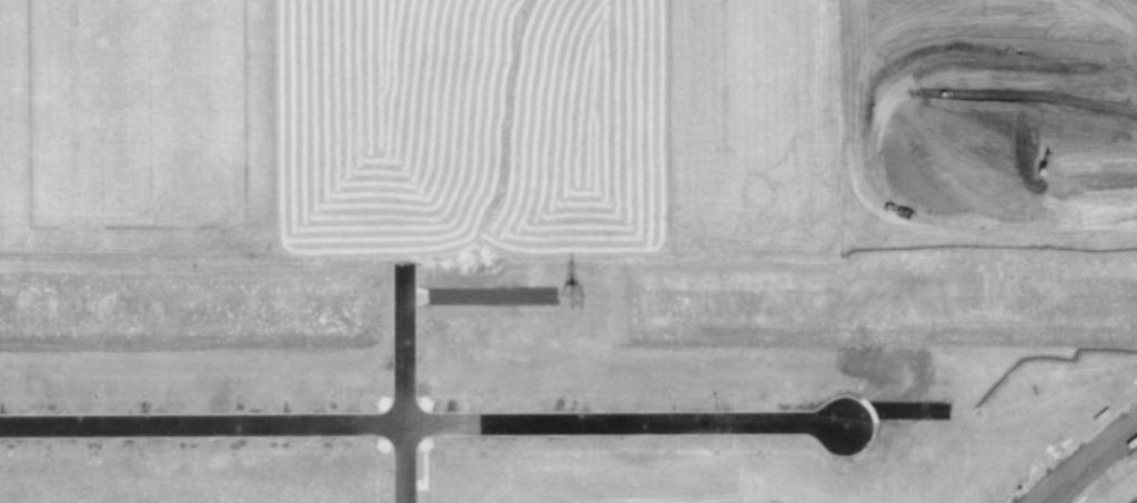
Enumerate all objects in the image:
road: (937, 98)
crop: (573, 132)
road: (1057, 173)
power tower: (567, 294)
road: (401, 380)
road: (422, 423)
road: (1085, 457)

